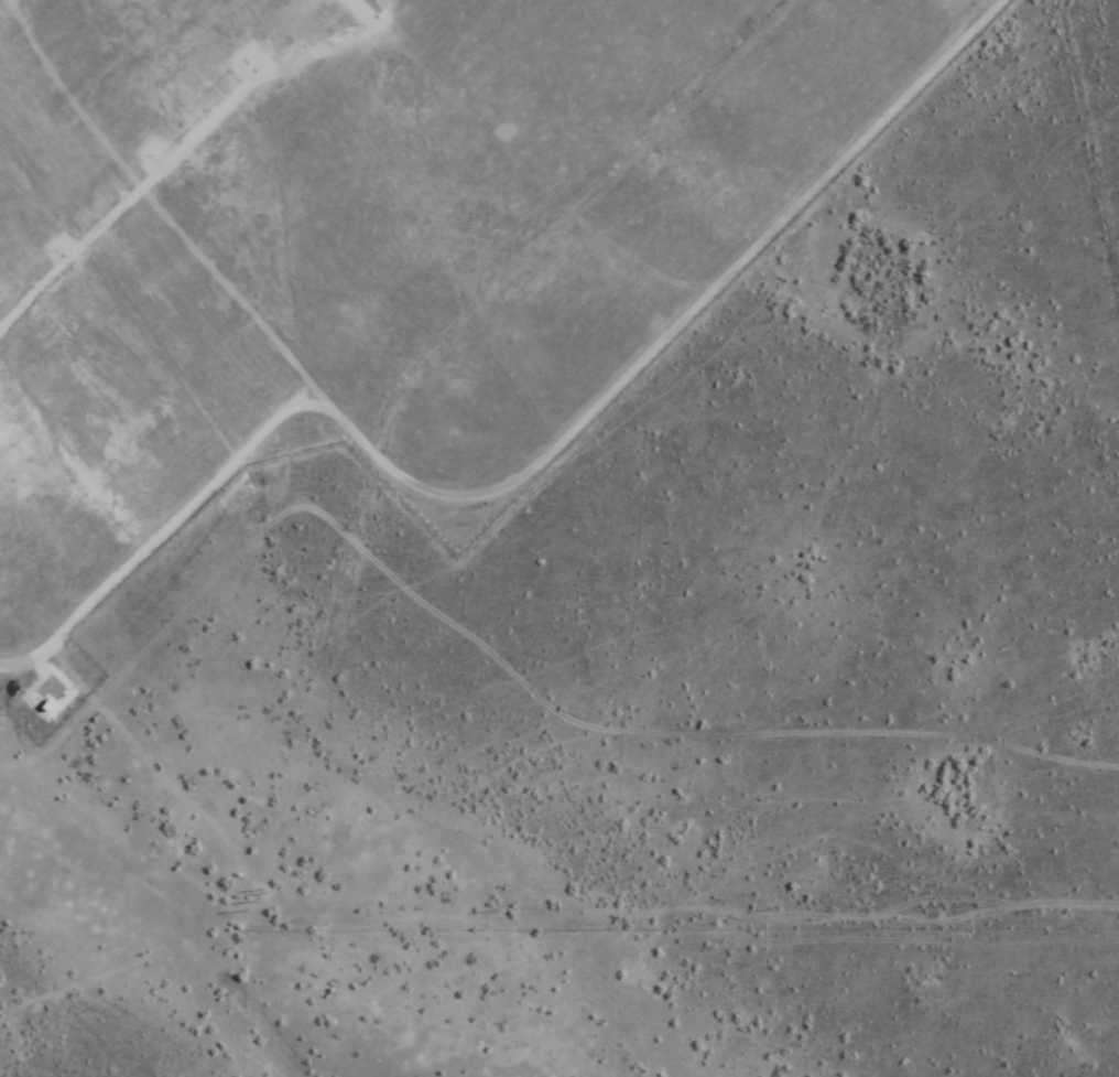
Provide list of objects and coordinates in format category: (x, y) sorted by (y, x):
airport: (369, 257)
road: (519, 477)

